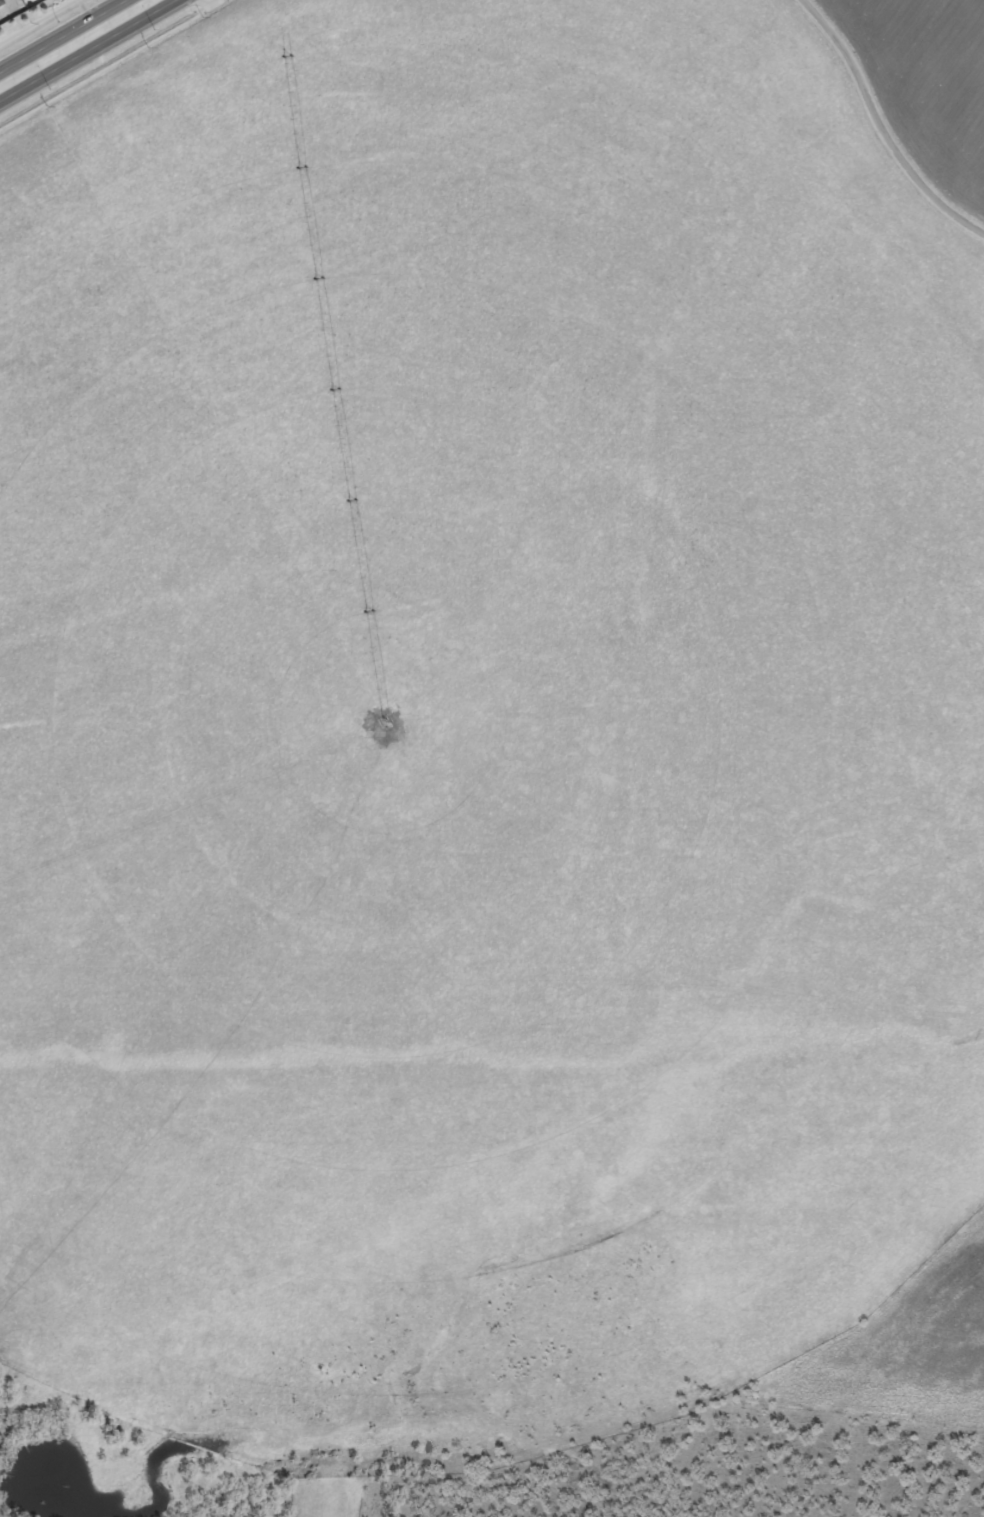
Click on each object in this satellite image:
building: (1, 2)
road: (214, 2)
road: (37, 21)
road: (61, 35)
road: (86, 49)
road: (112, 64)
road: (882, 125)

